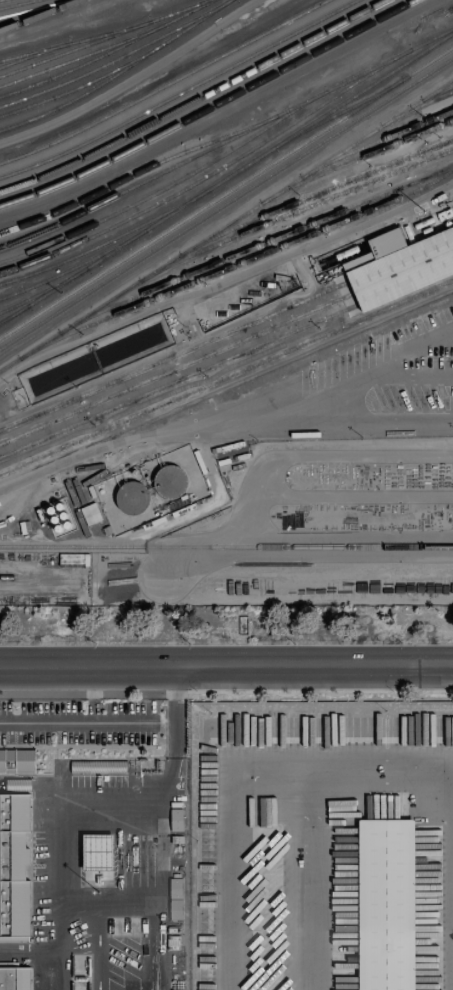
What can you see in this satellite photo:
railway: (17, 4)
railway: (35, 8)
railway: (39, 15)
railway: (30, 16)
railway: (103, 38)
railway: (74, 41)
railway: (35, 51)
railway: (107, 52)
railway: (79, 57)
railway: (114, 59)
railway: (118, 73)
railway: (83, 84)
railway: (165, 85)
railway: (436, 91)
railway: (180, 93)
railway: (193, 99)
railway: (209, 107)
railway: (416, 107)
railway: (331, 116)
railway: (375, 141)
railway: (355, 159)
railway: (232, 162)
railway: (208, 163)
railway: (163, 172)
railway: (137, 173)
railway: (226, 178)
railway: (226, 192)
railway: (315, 195)
railway: (226, 203)
railway: (295, 212)
railway: (226, 225)
railway: (111, 239)
railway: (255, 247)
railway: (236, 264)
railway: (73, 268)
building: (403, 270)
railway: (41, 294)
railway: (14, 313)
railway: (226, 333)
railway: (226, 345)
railway: (226, 360)
railway: (226, 377)
road: (226, 388)
road: (344, 399)
building: (169, 482)
building: (132, 497)
building: (58, 517)
railway: (226, 546)
road: (226, 666)
road: (92, 694)
road: (175, 694)
road: (76, 722)
road: (247, 778)
road: (74, 803)
building: (175, 819)
building: (97, 852)
road: (156, 859)
building: (13, 865)
road: (310, 880)
building: (174, 898)
building: (384, 903)
road: (29, 952)
road: (152, 955)
road: (58, 970)
building: (14, 978)
road: (150, 986)

